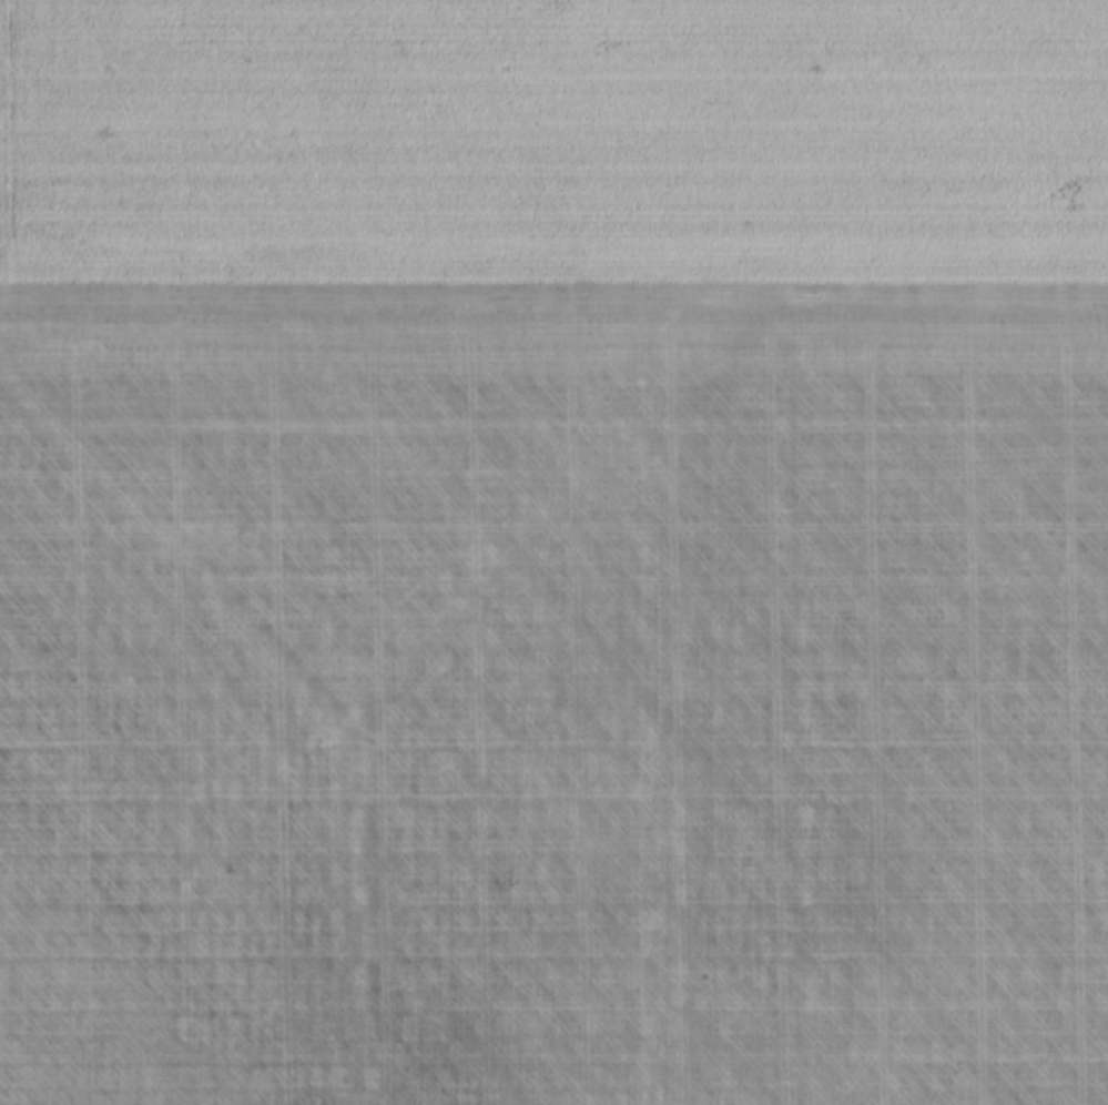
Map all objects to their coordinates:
crop: (553, 552)

